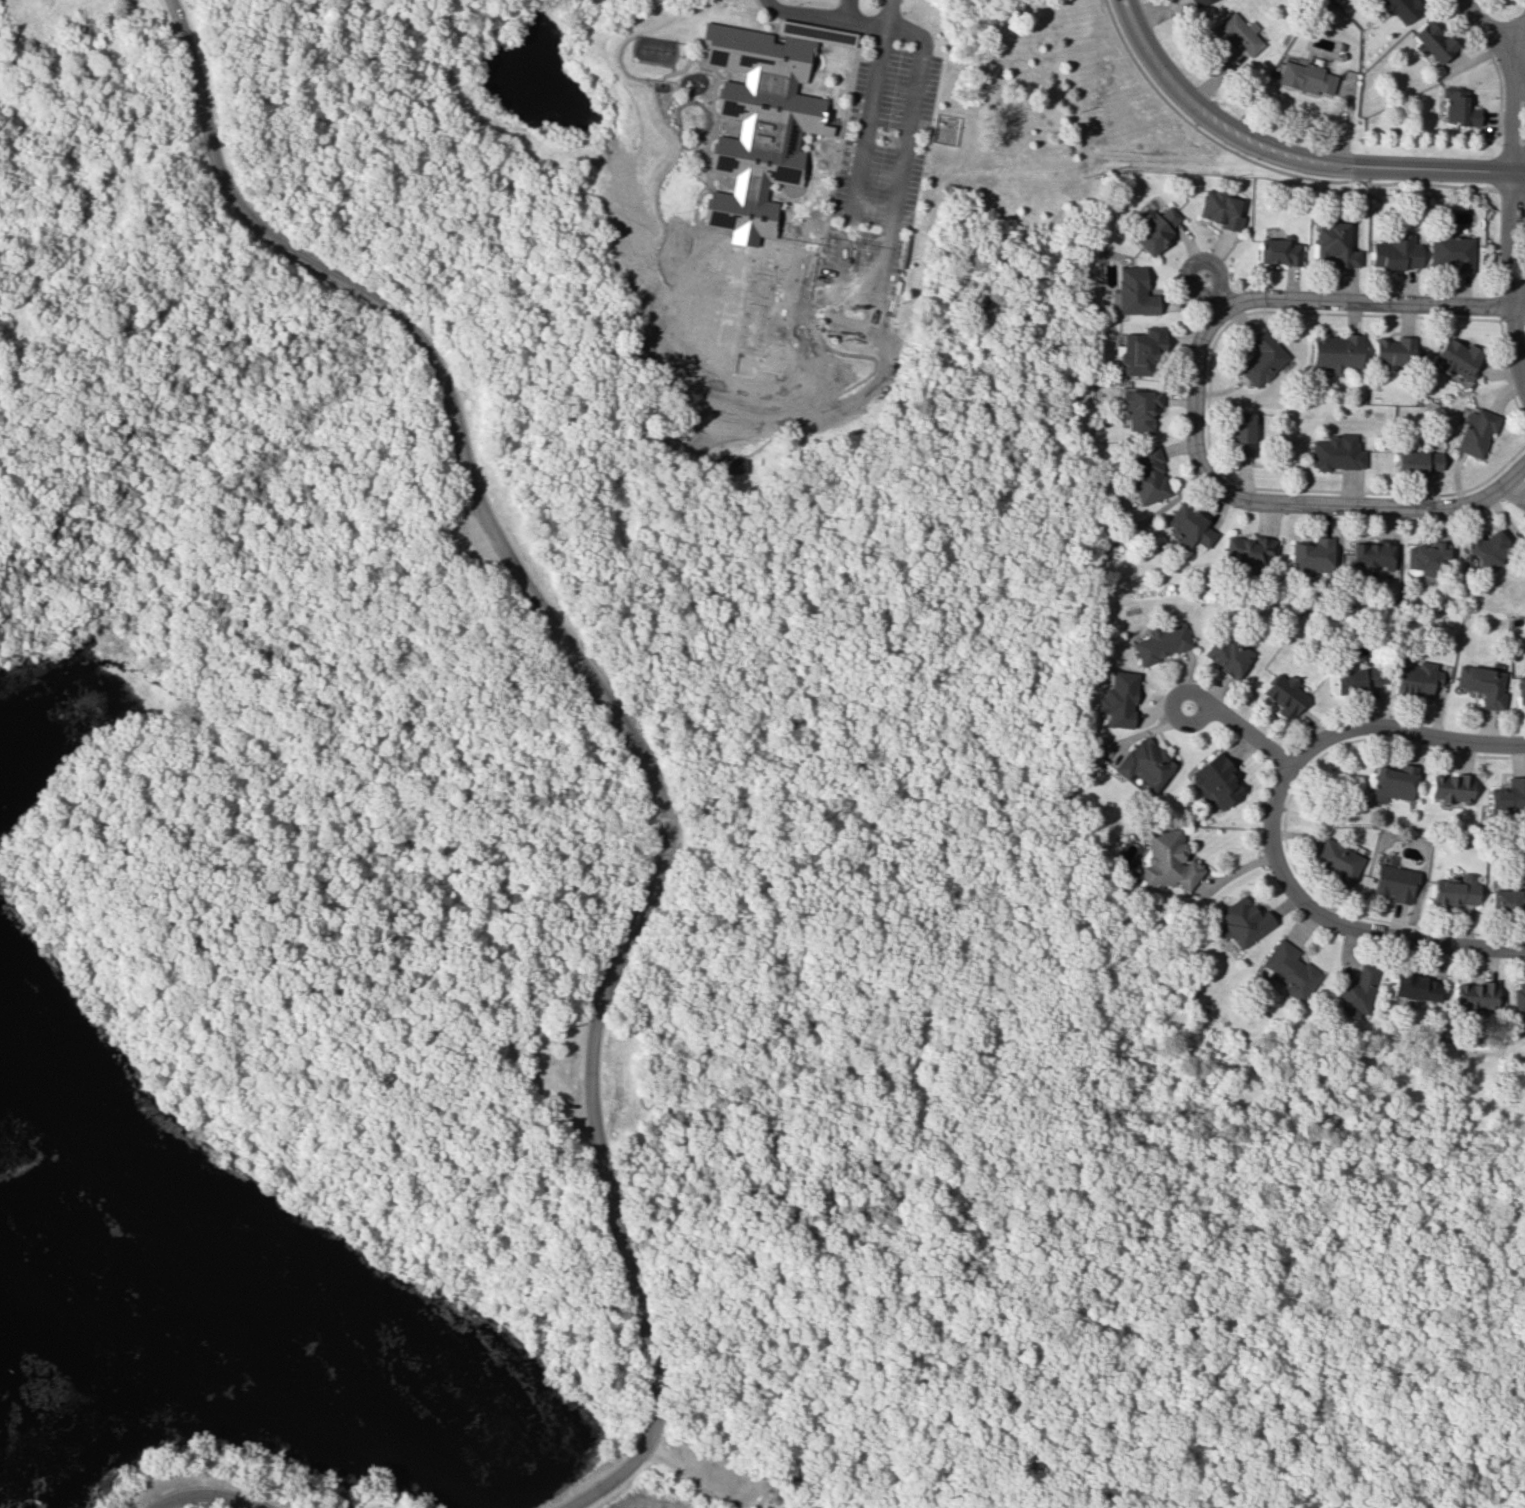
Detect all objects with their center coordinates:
building: (1198, 2)
building: (1401, 8)
road: (843, 9)
road: (887, 12)
road: (824, 16)
road: (1484, 24)
building: (1239, 35)
road: (1519, 35)
building: (1434, 42)
road: (705, 66)
road: (682, 68)
building: (1305, 77)
building: (1458, 107)
building: (761, 117)
road: (832, 124)
road: (1287, 158)
road: (707, 172)
road: (1511, 172)
building: (1220, 209)
building: (1155, 230)
building: (1336, 245)
road: (788, 248)
building: (1278, 250)
building: (1452, 252)
building: (1396, 253)
road: (1192, 265)
building: (1132, 292)
road: (1318, 299)
road: (1515, 308)
road: (810, 309)
road: (866, 324)
road: (1516, 350)
building: (1140, 351)
building: (1335, 352)
building: (1394, 352)
building: (1457, 358)
building: (1262, 359)
building: (1139, 409)
building: (1476, 431)
building: (1241, 434)
building: (1336, 452)
building: (1416, 461)
building: (729, 465)
building: (1147, 476)
road: (1322, 505)
building: (1188, 526)
parking lot: (487, 534)
building: (1249, 549)
building: (1483, 549)
building: (1312, 555)
building: (1372, 555)
building: (1427, 557)
building: (1161, 642)
building: (1228, 656)
road: (593, 672)
building: (1417, 678)
building: (1356, 680)
building: (1482, 684)
building: (1521, 689)
building: (1284, 695)
building: (1117, 699)
road: (1205, 703)
building: (1145, 763)
building: (1217, 780)
building: (1393, 782)
building: (1451, 788)
building: (1508, 796)
road: (1270, 828)
building: (1167, 860)
building: (1337, 860)
building: (1395, 882)
building: (1455, 891)
building: (1507, 898)
park: (591, 901)
building: (1244, 921)
road: (791, 928)
park: (889, 932)
building: (1415, 987)
building: (1357, 993)
building: (1476, 995)
building: (1518, 997)
parking lot: (583, 1109)
parking lot: (717, 1474)
road: (210, 1481)
road: (610, 1484)
road: (832, 1486)
road: (1084, 1488)
park: (204, 1500)

